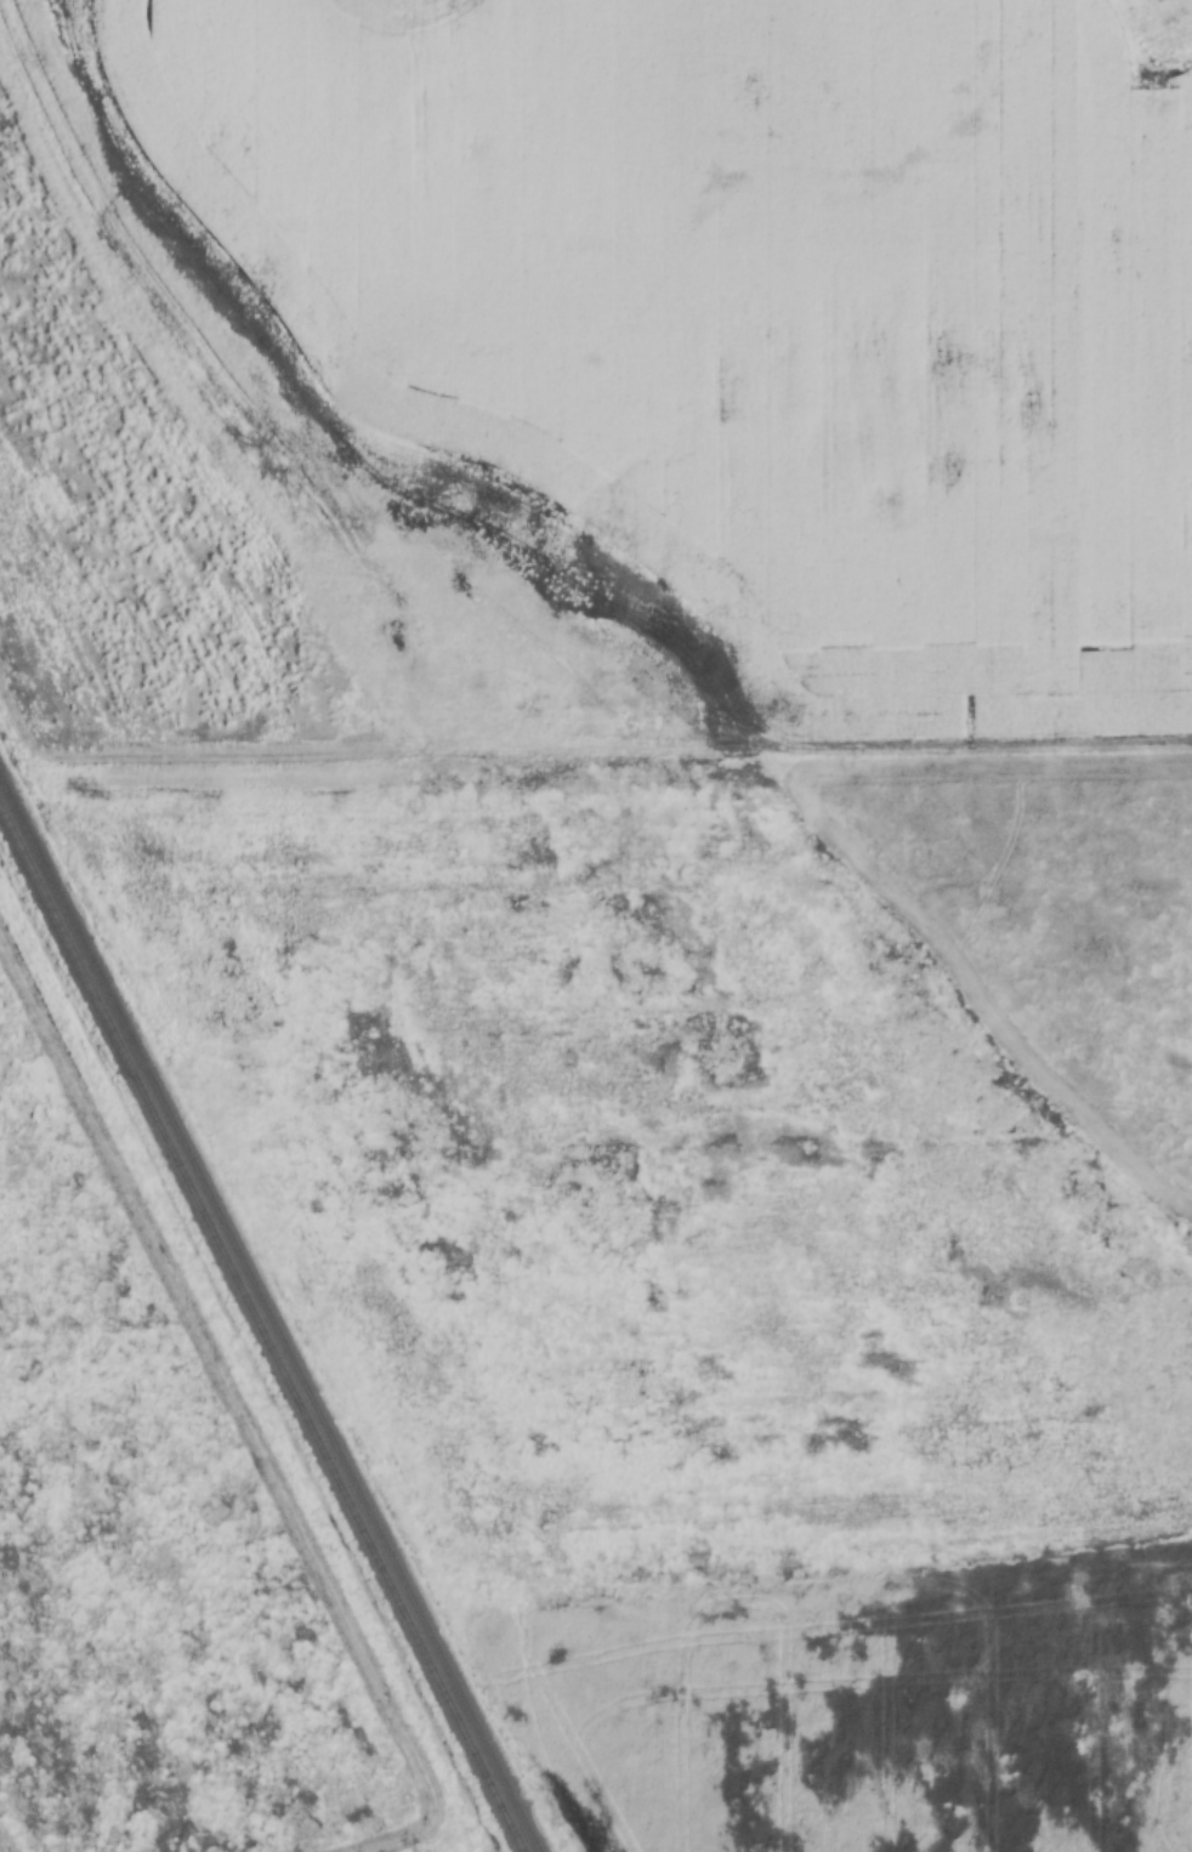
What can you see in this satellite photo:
railway: (271, 1312)
railway: (262, 1328)

